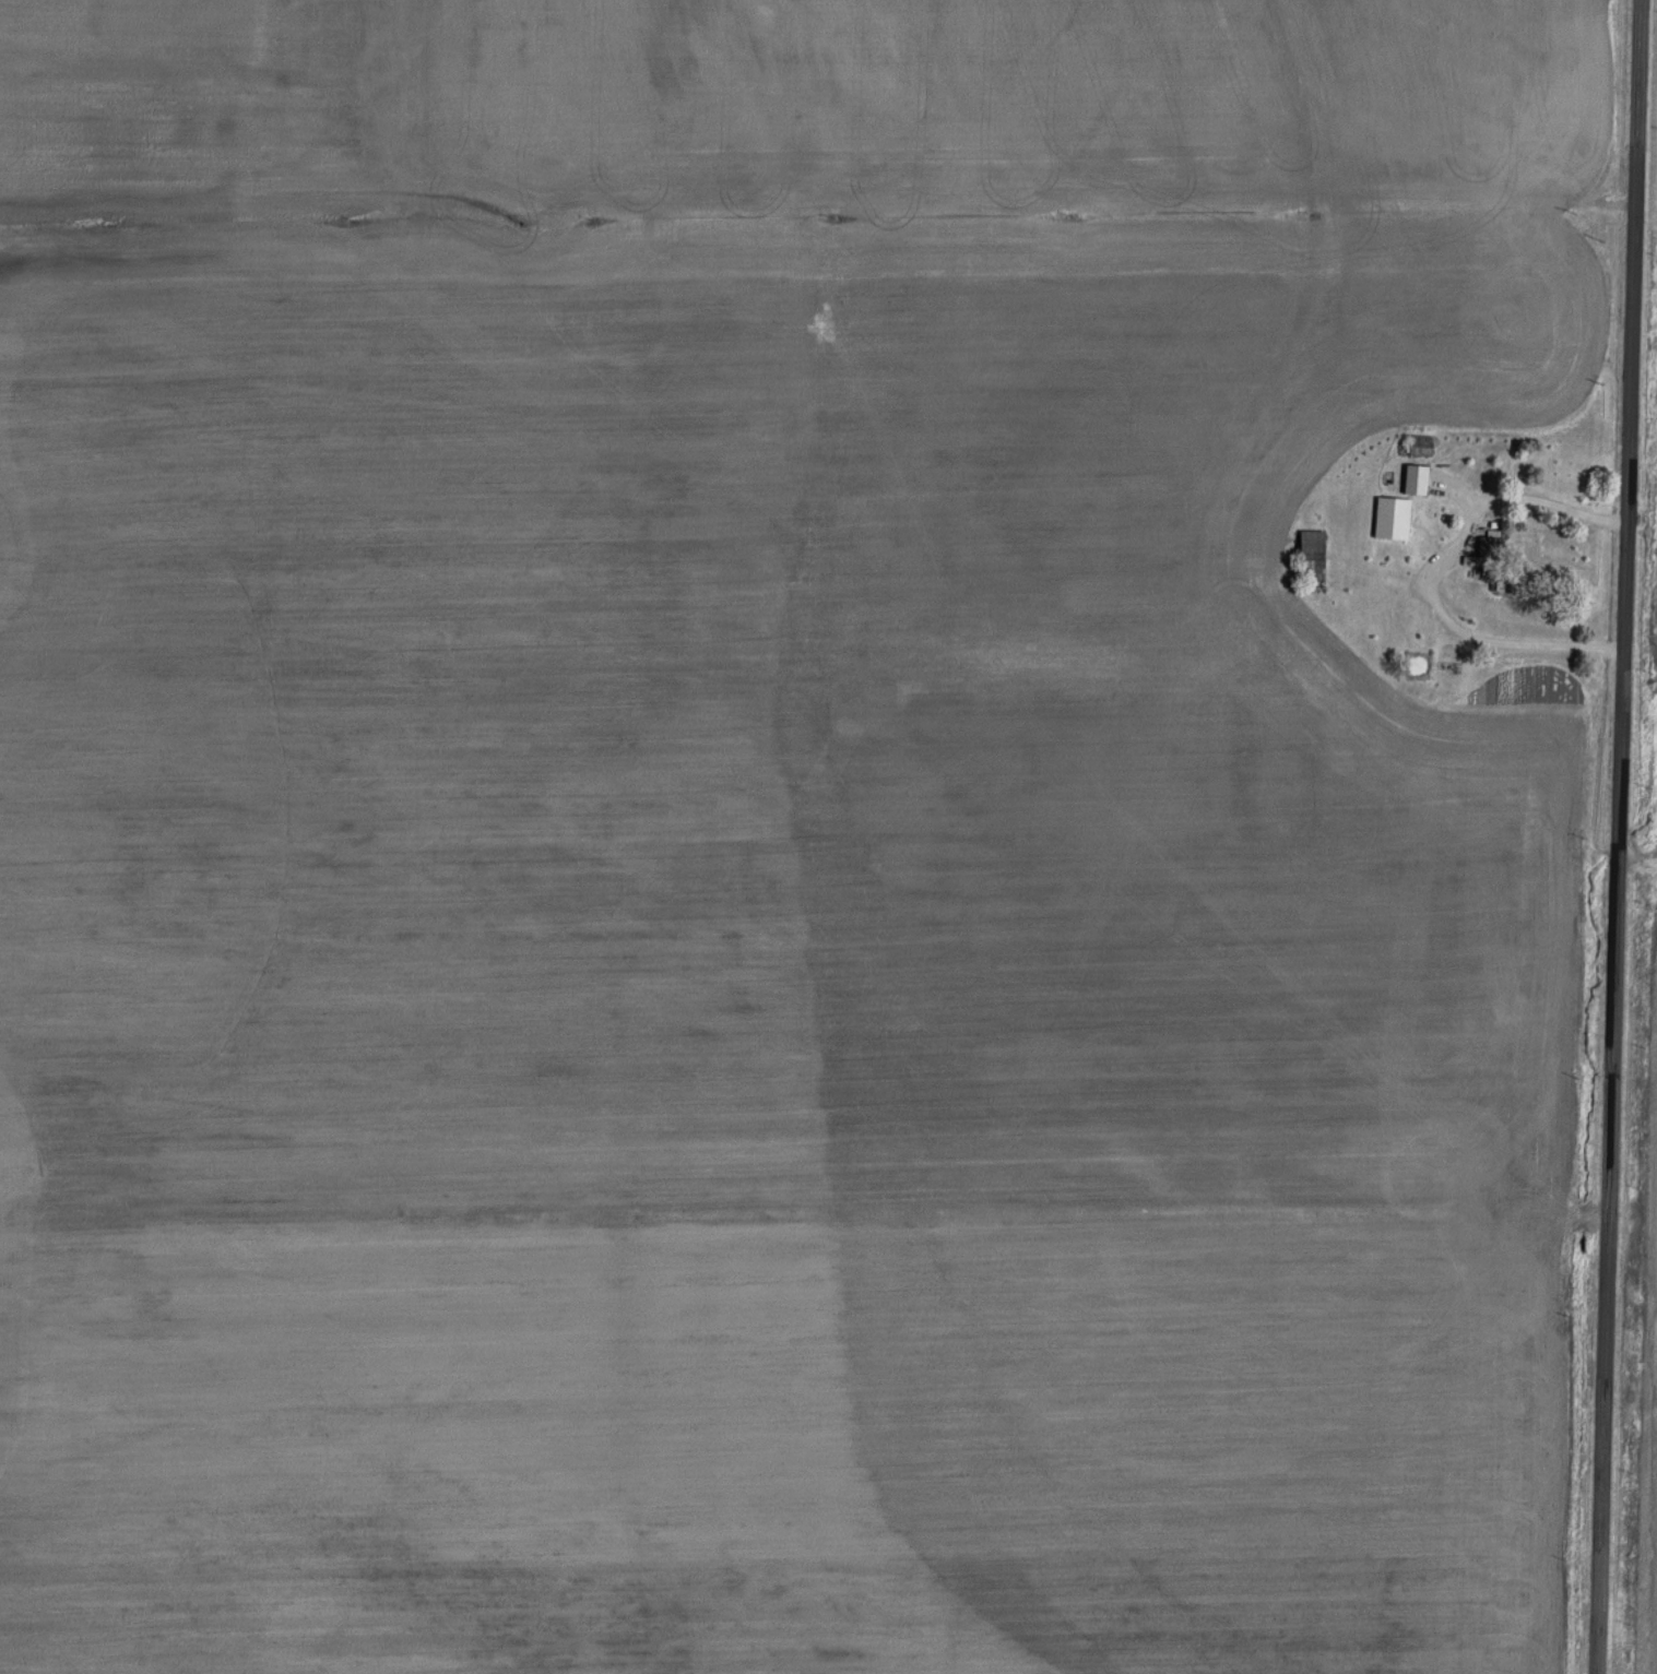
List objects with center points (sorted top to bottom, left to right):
road: (1291, 209)
building: (1420, 446)
building: (1563, 475)
building: (1397, 544)
building: (1489, 544)
building: (1313, 554)
road: (1461, 637)
road: (1052, 688)
road: (1618, 836)

